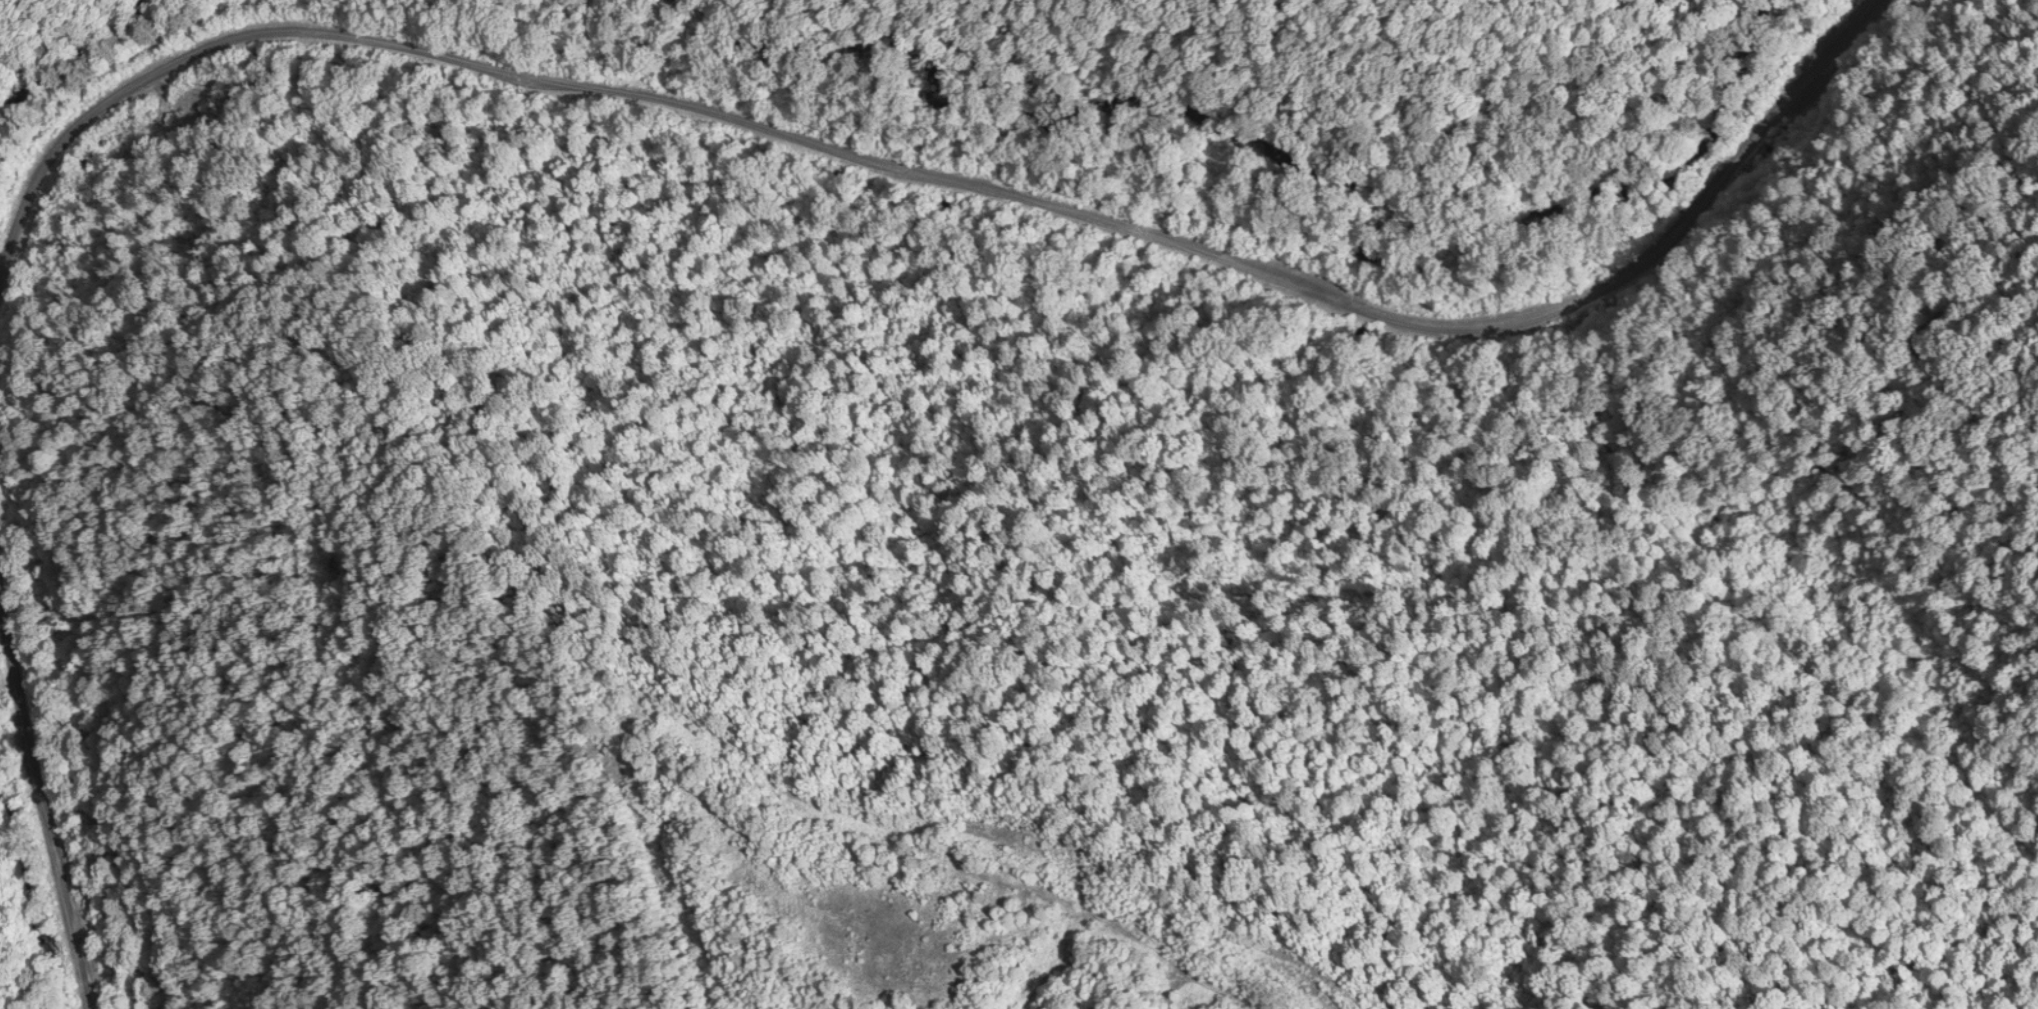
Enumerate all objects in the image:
road: (939, 169)
quarry: (138, 597)
road: (48, 867)

